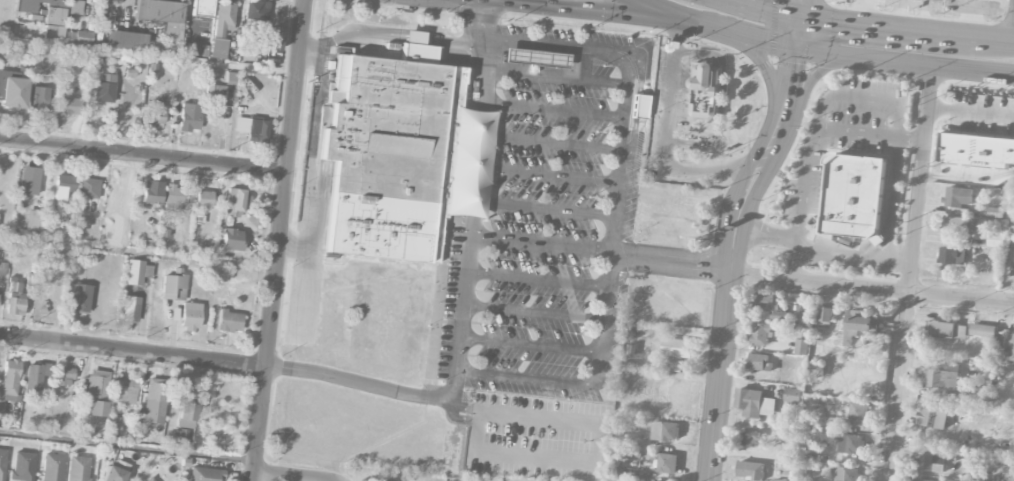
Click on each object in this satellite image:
road: (479, 0)
building: (937, 0)
road: (735, 3)
road: (741, 3)
road: (760, 4)
building: (36, 5)
building: (203, 8)
road: (803, 9)
building: (256, 10)
road: (588, 10)
road: (666, 11)
road: (775, 13)
building: (55, 16)
building: (161, 16)
traffic signals: (803, 18)
road: (483, 21)
road: (888, 27)
building: (221, 28)
road: (361, 28)
building: (54, 33)
road: (413, 34)
building: (78, 37)
building: (274, 38)
road: (453, 38)
road: (994, 39)
building: (125, 40)
traffic signals: (798, 52)
road: (149, 57)
building: (534, 57)
gas station: (534, 57)
road: (850, 59)
road: (479, 75)
road: (553, 78)
road: (626, 86)
building: (104, 87)
building: (705, 89)
building: (12, 91)
building: (215, 94)
road: (773, 94)
road: (866, 97)
building: (38, 99)
road: (802, 101)
building: (639, 105)
building: (68, 106)
road: (551, 109)
building: (157, 113)
road: (970, 113)
building: (189, 117)
building: (252, 128)
road: (869, 135)
road: (664, 140)
road: (548, 141)
road: (315, 146)
building: (976, 151)
building: (391, 154)
road: (145, 156)
road: (472, 163)
road: (545, 175)
road: (967, 180)
building: (28, 181)
road: (803, 184)
building: (64, 186)
building: (87, 187)
building: (151, 195)
building: (853, 196)
building: (957, 197)
building: (174, 198)
building: (204, 199)
road: (891, 199)
building: (234, 200)
road: (541, 208)
parking lot: (543, 212)
building: (995, 213)
building: (34, 220)
road: (755, 222)
building: (955, 225)
road: (784, 238)
building: (231, 239)
road: (282, 240)
road: (752, 240)
building: (995, 240)
road: (538, 244)
road: (733, 244)
road: (840, 253)
road: (140, 254)
road: (621, 255)
building: (952, 257)
road: (794, 260)
road: (898, 261)
road: (712, 265)
building: (988, 266)
building: (1013, 266)
building: (2, 269)
road: (909, 273)
road: (535, 279)
building: (174, 284)
road: (903, 290)
road: (459, 293)
building: (77, 297)
building: (796, 298)
building: (769, 303)
road: (532, 311)
building: (825, 315)
building: (190, 316)
building: (805, 318)
road: (605, 319)
building: (229, 321)
building: (859, 328)
building: (947, 331)
building: (984, 332)
building: (760, 334)
road: (529, 345)
building: (1009, 346)
building: (801, 347)
building: (677, 348)
road: (133, 353)
building: (757, 362)
building: (816, 371)
road: (430, 374)
building: (64, 376)
building: (34, 378)
road: (526, 378)
building: (10, 380)
building: (942, 380)
road: (357, 382)
road: (450, 386)
building: (126, 390)
building: (97, 392)
building: (792, 395)
building: (962, 396)
building: (155, 401)
building: (754, 404)
building: (186, 406)
building: (1, 407)
road: (462, 408)
building: (858, 411)
road: (457, 417)
road: (538, 417)
building: (932, 418)
building: (114, 425)
building: (834, 425)
building: (665, 431)
building: (179, 438)
building: (749, 439)
building: (851, 444)
road: (129, 447)
road: (533, 454)
building: (2, 463)
building: (930, 463)
building: (667, 464)
building: (23, 466)
building: (52, 467)
building: (78, 468)
building: (749, 471)
building: (113, 474)
building: (206, 474)
building: (846, 474)
road: (295, 476)
park: (493, 477)
building: (1011, 478)
building: (150, 479)
building: (777, 480)
building: (946, 480)

